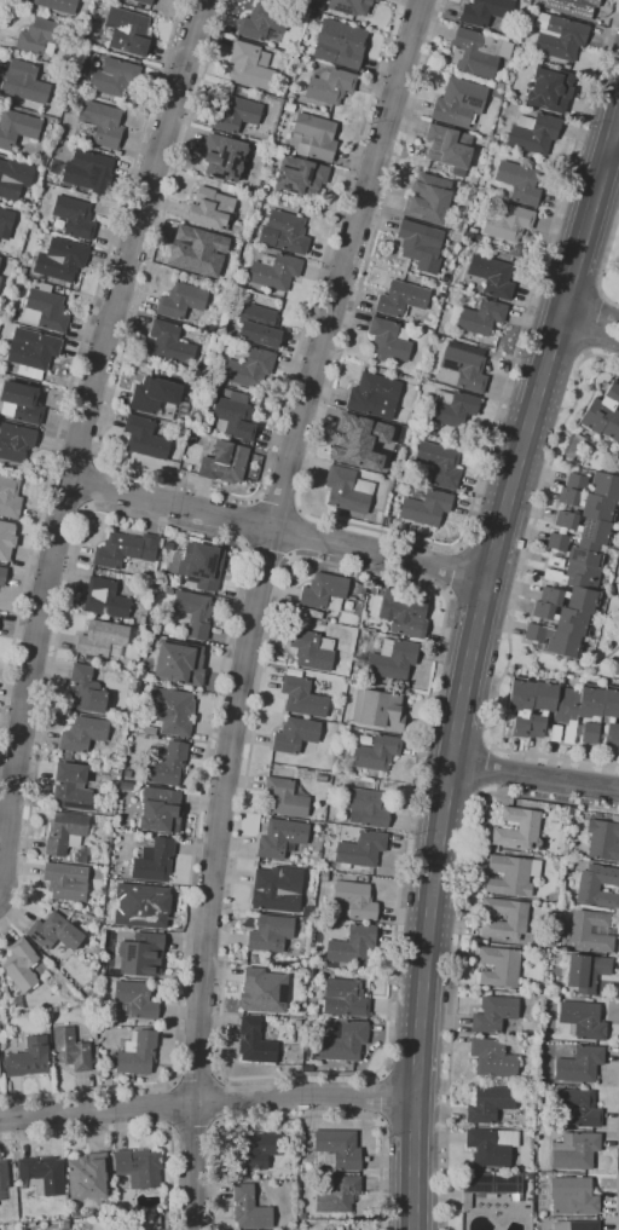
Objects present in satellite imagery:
building: (143, 1)
building: (58, 5)
building: (352, 5)
building: (579, 8)
building: (300, 11)
building: (485, 11)
road: (4, 13)
building: (261, 22)
building: (128, 30)
building: (41, 36)
building: (560, 39)
building: (339, 46)
building: (478, 53)
building: (250, 65)
building: (567, 67)
building: (114, 79)
building: (27, 82)
building: (498, 85)
building: (329, 86)
building: (548, 89)
building: (279, 91)
building: (497, 94)
building: (458, 103)
building: (289, 106)
building: (235, 115)
building: (102, 122)
building: (17, 132)
building: (533, 133)
building: (313, 138)
building: (492, 145)
building: (447, 150)
road: (613, 151)
building: (222, 157)
building: (85, 168)
building: (186, 168)
building: (13, 178)
building: (302, 179)
building: (473, 179)
building: (519, 183)
building: (230, 189)
building: (428, 200)
building: (209, 209)
building: (74, 218)
building: (507, 220)
building: (5, 224)
building: (287, 232)
building: (452, 235)
building: (479, 239)
building: (418, 242)
building: (193, 253)
building: (62, 260)
road: (603, 261)
building: (423, 270)
building: (274, 271)
building: (24, 272)
building: (492, 276)
building: (445, 277)
building: (442, 288)
building: (400, 299)
building: (180, 301)
building: (45, 310)
road: (589, 314)
building: (479, 317)
building: (4, 324)
building: (258, 327)
road: (589, 330)
building: (389, 340)
building: (170, 343)
building: (31, 352)
road: (79, 360)
building: (462, 365)
building: (248, 369)
building: (243, 389)
building: (374, 395)
building: (154, 397)
building: (21, 403)
building: (452, 409)
building: (600, 410)
building: (232, 414)
building: (611, 427)
road: (79, 432)
building: (364, 435)
building: (144, 439)
building: (15, 444)
road: (76, 454)
building: (224, 463)
building: (439, 463)
building: (183, 464)
building: (387, 466)
building: (366, 467)
building: (577, 480)
road: (93, 483)
road: (196, 486)
building: (604, 486)
building: (347, 490)
building: (10, 497)
road: (66, 502)
road: (278, 503)
building: (588, 504)
building: (423, 506)
building: (377, 520)
road: (245, 522)
building: (584, 527)
road: (278, 530)
road: (296, 533)
building: (1, 536)
road: (397, 536)
road: (268, 544)
building: (556, 544)
building: (168, 545)
building: (125, 550)
road: (266, 552)
building: (584, 554)
road: (488, 559)
building: (202, 565)
road: (452, 570)
building: (572, 574)
building: (2, 576)
road: (282, 577)
building: (360, 590)
building: (168, 591)
building: (324, 593)
road: (516, 595)
road: (481, 596)
building: (105, 599)
building: (571, 599)
road: (233, 606)
building: (192, 614)
building: (401, 616)
building: (562, 619)
building: (140, 622)
building: (100, 639)
building: (554, 641)
building: (312, 651)
building: (392, 660)
road: (469, 663)
building: (178, 668)
building: (85, 692)
building: (302, 698)
building: (590, 701)
building: (520, 706)
building: (542, 706)
building: (172, 710)
building: (377, 710)
building: (611, 714)
building: (336, 715)
building: (565, 715)
road: (457, 731)
building: (149, 732)
building: (588, 733)
building: (82, 735)
building: (295, 735)
building: (376, 752)
building: (166, 766)
road: (488, 770)
building: (127, 774)
road: (534, 776)
building: (320, 778)
road: (449, 785)
building: (70, 787)
building: (121, 797)
building: (288, 797)
building: (156, 805)
building: (366, 808)
building: (597, 815)
building: (139, 826)
building: (517, 828)
building: (65, 833)
building: (280, 838)
building: (603, 839)
building: (540, 843)
building: (360, 850)
building: (80, 855)
building: (152, 860)
building: (323, 866)
building: (324, 876)
building: (511, 876)
building: (65, 882)
building: (597, 887)
building: (273, 894)
building: (306, 900)
building: (354, 901)
building: (145, 905)
building: (516, 917)
building: (589, 931)
building: (54, 932)
building: (270, 934)
road: (458, 942)
building: (352, 945)
building: (141, 955)
building: (256, 959)
building: (21, 965)
building: (498, 966)
building: (584, 972)
building: (511, 991)
building: (260, 994)
building: (343, 999)
building: (134, 1001)
building: (17, 1004)
building: (4, 1005)
building: (299, 1006)
building: (493, 1014)
building: (583, 1020)
building: (297, 1023)
building: (343, 1043)
building: (255, 1044)
building: (70, 1050)
building: (137, 1053)
building: (28, 1058)
building: (492, 1058)
building: (579, 1064)
building: (0, 1067)
road: (219, 1076)
road: (195, 1079)
road: (172, 1081)
road: (380, 1098)
road: (216, 1099)
road: (172, 1104)
building: (490, 1104)
road: (207, 1105)
building: (577, 1108)
road: (300, 1118)
road: (192, 1124)
road: (218, 1124)
road: (133, 1130)
road: (169, 1130)
building: (491, 1147)
building: (339, 1149)
building: (255, 1151)
building: (574, 1151)
building: (326, 1159)
building: (138, 1165)
road: (197, 1167)
building: (44, 1174)
building: (242, 1176)
building: (85, 1177)
building: (527, 1177)
building: (2, 1178)
building: (490, 1186)
building: (528, 1189)
building: (336, 1194)
building: (572, 1196)
road: (617, 1199)
building: (249, 1209)
building: (301, 1215)
building: (65, 1225)
building: (575, 1225)

